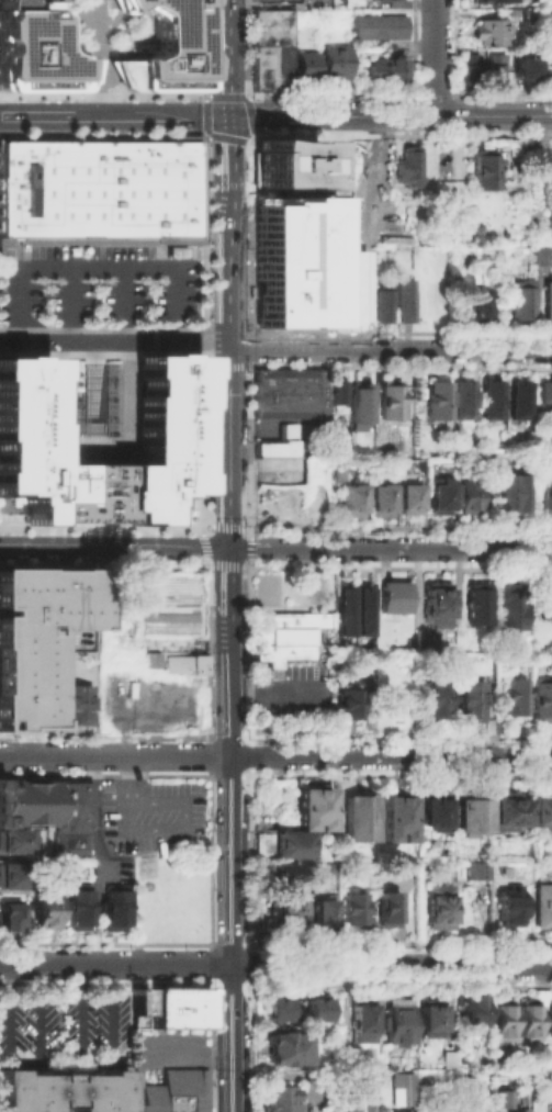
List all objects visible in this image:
building: (20, 2)
building: (351, 3)
building: (487, 3)
building: (529, 15)
building: (271, 22)
building: (380, 27)
building: (491, 34)
building: (165, 45)
building: (34, 54)
road: (230, 57)
road: (435, 57)
road: (95, 58)
building: (305, 64)
building: (336, 64)
building: (283, 66)
building: (262, 67)
building: (496, 67)
building: (469, 68)
building: (387, 69)
building: (525, 70)
traffic signals: (232, 115)
road: (38, 116)
road: (154, 116)
road: (391, 116)
building: (516, 147)
building: (536, 147)
road: (233, 150)
building: (285, 162)
building: (410, 166)
building: (491, 172)
building: (551, 176)
building: (337, 183)
building: (100, 189)
building: (543, 259)
building: (304, 261)
road: (94, 265)
parking lot: (98, 281)
building: (465, 283)
road: (70, 301)
road: (123, 302)
building: (526, 302)
building: (549, 303)
building: (405, 304)
building: (384, 305)
building: (482, 311)
road: (113, 338)
road: (391, 350)
road: (228, 366)
building: (334, 391)
building: (549, 394)
building: (294, 395)
building: (394, 403)
building: (441, 403)
building: (465, 403)
building: (494, 403)
building: (522, 403)
building: (363, 405)
building: (166, 409)
building: (281, 447)
road: (90, 450)
building: (340, 474)
building: (515, 495)
building: (440, 497)
building: (544, 497)
building: (467, 499)
building: (409, 501)
building: (353, 504)
building: (382, 504)
road: (113, 544)
traffic signals: (228, 546)
road: (246, 547)
road: (408, 547)
road: (229, 598)
building: (396, 600)
building: (548, 603)
building: (438, 605)
building: (481, 606)
crop: (160, 610)
building: (511, 610)
building: (346, 614)
building: (365, 615)
building: (36, 636)
building: (289, 639)
building: (428, 641)
building: (148, 659)
building: (187, 666)
building: (518, 700)
building: (472, 701)
building: (435, 703)
building: (543, 703)
building: (350, 705)
building: (78, 708)
road: (119, 756)
road: (394, 756)
building: (312, 808)
building: (511, 810)
building: (543, 812)
building: (436, 813)
building: (48, 815)
building: (473, 816)
parking lot: (153, 817)
building: (359, 820)
building: (399, 821)
road: (134, 822)
road: (91, 827)
road: (119, 829)
road: (93, 830)
building: (14, 844)
building: (283, 849)
building: (69, 873)
building: (323, 873)
building: (480, 874)
building: (12, 876)
building: (283, 876)
road: (237, 880)
building: (413, 881)
building: (114, 907)
building: (509, 908)
building: (544, 909)
building: (46, 910)
building: (289, 910)
building: (390, 910)
building: (440, 910)
building: (78, 911)
building: (354, 912)
building: (324, 918)
building: (9, 920)
road: (119, 965)
road: (395, 965)
building: (139, 1006)
building: (179, 1011)
building: (279, 1011)
building: (318, 1011)
building: (476, 1012)
building: (432, 1022)
building: (530, 1022)
building: (550, 1022)
building: (363, 1023)
building: (504, 1023)
building: (401, 1025)
parking lot: (65, 1030)
road: (188, 1053)
building: (288, 1054)
building: (444, 1058)
road: (24, 1059)
road: (98, 1059)
building: (399, 1088)
building: (177, 1093)
building: (64, 1094)
building: (281, 1100)
building: (504, 1100)
building: (360, 1110)
building: (397, 1111)

